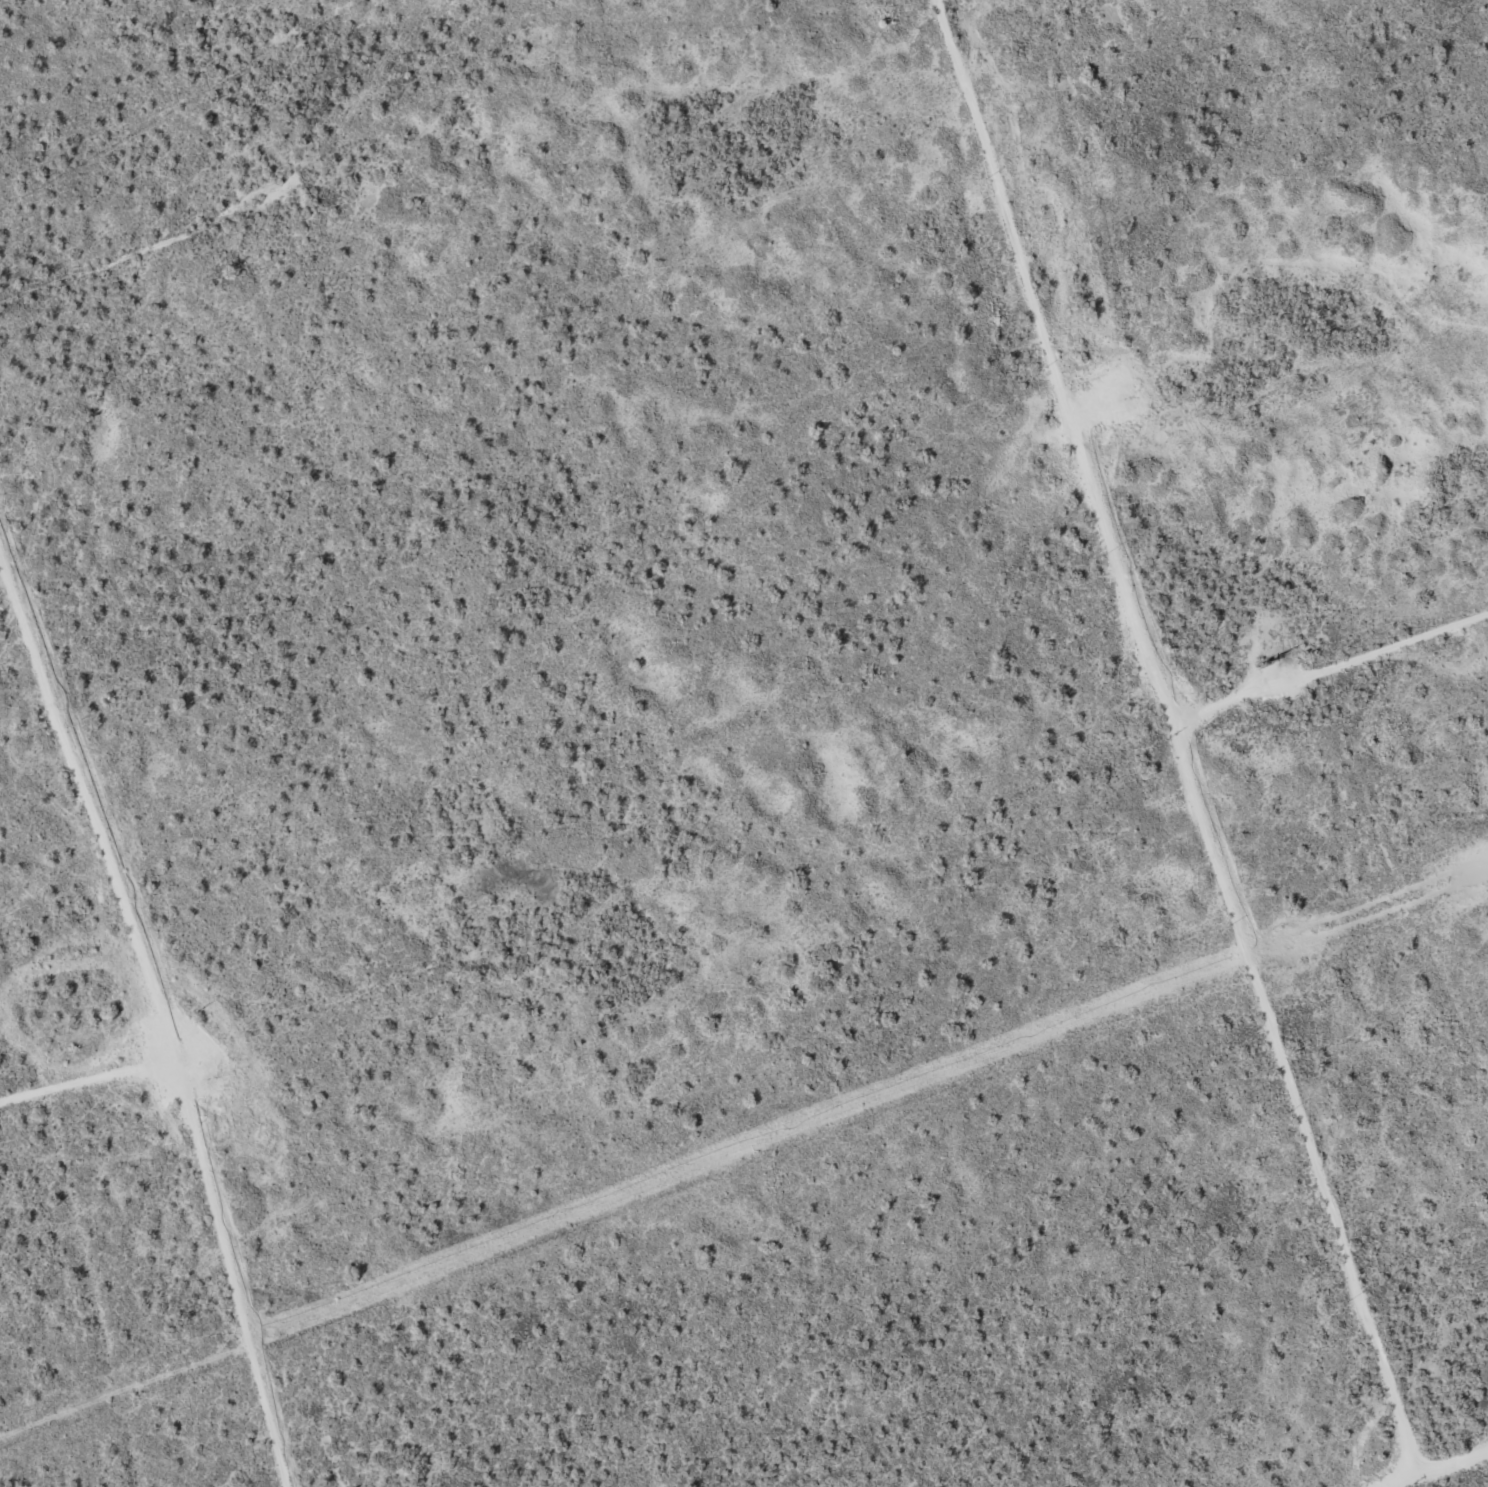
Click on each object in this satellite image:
road: (128, 265)
road: (1330, 665)
road: (1182, 742)
road: (155, 1014)
road: (238, 1024)

